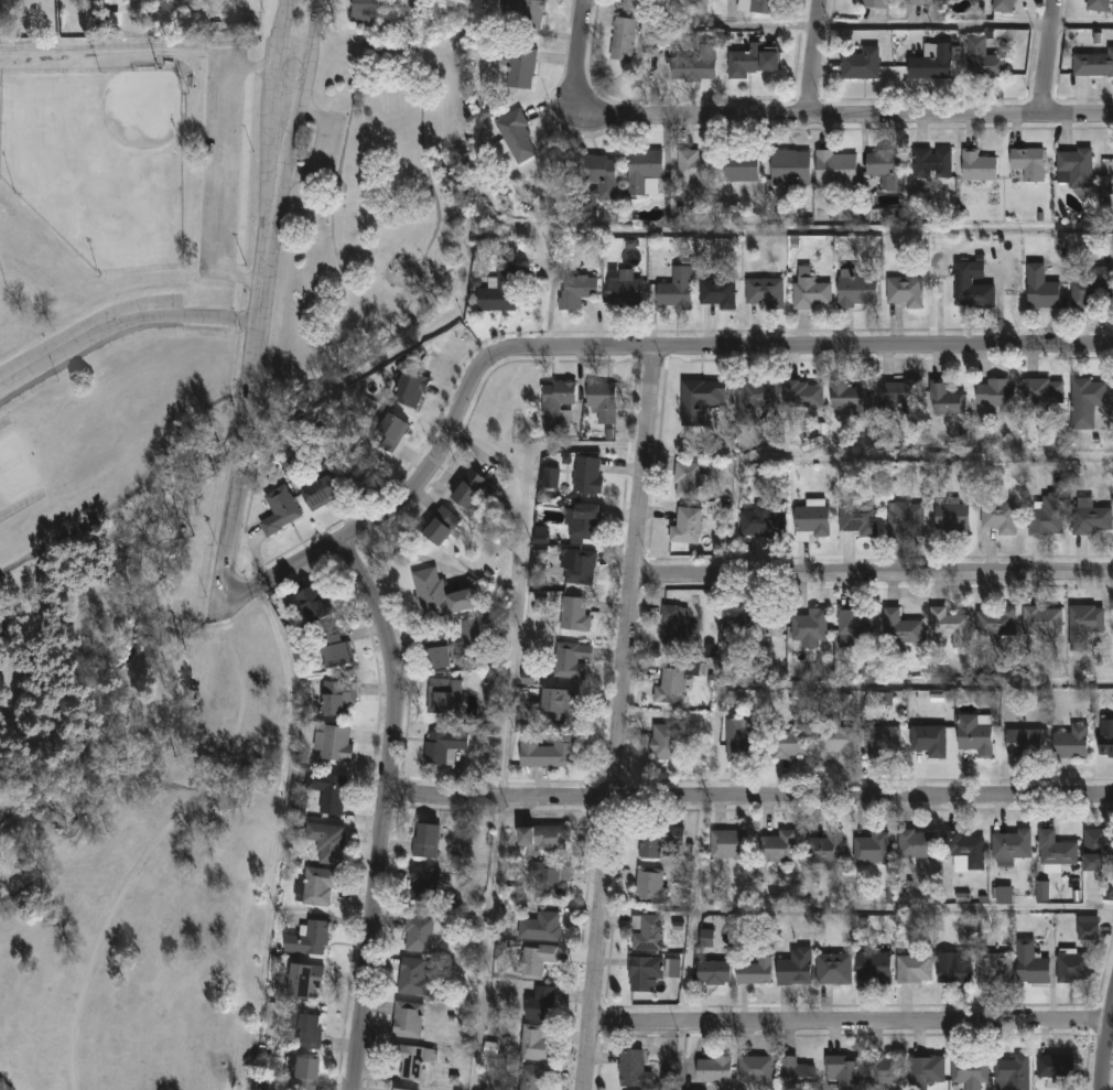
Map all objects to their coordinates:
building: (912, 2)
building: (873, 4)
building: (1001, 4)
building: (763, 6)
building: (1095, 6)
building: (368, 11)
road: (932, 11)
building: (528, 12)
road: (965, 23)
road: (749, 25)
building: (620, 37)
road: (581, 46)
building: (754, 54)
road: (1049, 55)
road: (813, 57)
building: (982, 60)
building: (929, 62)
building: (858, 64)
building: (693, 65)
building: (1093, 65)
building: (523, 67)
road: (278, 87)
road: (302, 89)
road: (845, 114)
road: (348, 125)
building: (518, 139)
parking lot: (320, 148)
parking lot: (221, 161)
park: (100, 162)
building: (930, 162)
building: (1027, 162)
road: (219, 166)
building: (737, 166)
building: (975, 166)
building: (1072, 166)
building: (788, 168)
building: (833, 168)
building: (885, 168)
building: (1106, 169)
building: (640, 170)
building: (694, 172)
building: (597, 179)
building: (970, 283)
building: (1039, 287)
building: (1090, 287)
building: (853, 289)
building: (676, 290)
building: (808, 290)
building: (903, 290)
building: (499, 291)
building: (763, 291)
building: (576, 292)
building: (715, 292)
building: (624, 293)
park: (0, 309)
road: (121, 326)
parking lot: (90, 330)
road: (615, 347)
road: (250, 388)
building: (410, 390)
building: (1039, 391)
building: (994, 393)
building: (802, 397)
building: (896, 397)
building: (849, 398)
building: (943, 398)
building: (699, 401)
building: (750, 401)
building: (1083, 401)
building: (555, 402)
building: (602, 402)
building: (566, 417)
building: (389, 435)
building: (367, 470)
park: (14, 471)
building: (586, 476)
building: (550, 478)
building: (687, 482)
building: (468, 490)
building: (318, 494)
building: (279, 511)
road: (101, 512)
building: (1047, 516)
building: (953, 517)
building: (1001, 518)
building: (1089, 519)
building: (857, 520)
building: (906, 520)
building: (585, 522)
building: (763, 522)
building: (811, 522)
building: (440, 528)
building: (684, 528)
building: (579, 568)
road: (520, 570)
road: (873, 575)
park: (130, 589)
building: (436, 596)
building: (314, 604)
building: (573, 615)
building: (1042, 622)
building: (997, 623)
building: (854, 624)
building: (760, 625)
building: (1084, 625)
building: (808, 626)
building: (951, 626)
building: (0, 627)
building: (678, 628)
building: (900, 628)
building: (449, 645)
building: (333, 650)
building: (571, 660)
building: (670, 688)
building: (440, 695)
building: (337, 698)
building: (560, 706)
road: (624, 719)
building: (975, 735)
building: (1105, 738)
building: (741, 740)
building: (930, 741)
building: (668, 742)
building: (884, 742)
building: (836, 743)
building: (1024, 743)
building: (1071, 743)
building: (333, 744)
building: (788, 745)
building: (443, 747)
building: (548, 754)
building: (326, 796)
road: (749, 800)
building: (299, 808)
road: (385, 810)
road: (266, 838)
building: (542, 839)
building: (658, 840)
building: (424, 841)
building: (326, 843)
building: (916, 845)
building: (727, 846)
building: (871, 848)
building: (777, 849)
building: (1009, 849)
building: (824, 850)
building: (1055, 850)
building: (1098, 850)
building: (964, 852)
building: (548, 882)
building: (422, 885)
building: (318, 888)
building: (650, 888)
building: (1042, 891)
building: (1004, 895)
road: (850, 908)
building: (540, 928)
building: (1088, 929)
building: (646, 933)
building: (418, 936)
building: (706, 938)
building: (307, 940)
road: (486, 945)
building: (537, 961)
building: (1029, 965)
building: (1073, 968)
building: (672, 969)
building: (873, 969)
building: (993, 969)
building: (793, 970)
building: (914, 970)
building: (832, 971)
building: (954, 971)
building: (754, 973)
building: (645, 974)
building: (713, 974)
building: (413, 978)
building: (304, 983)
building: (540, 1005)
road: (852, 1018)
building: (407, 1021)
building: (304, 1030)
building: (536, 1044)
road: (1103, 1045)
building: (409, 1062)
building: (1056, 1068)
building: (633, 1071)
building: (712, 1071)
building: (884, 1071)
building: (926, 1071)
building: (969, 1071)
building: (842, 1072)
building: (1013, 1072)
building: (303, 1073)
building: (755, 1073)
building: (795, 1075)
building: (532, 1078)
building: (397, 1089)

